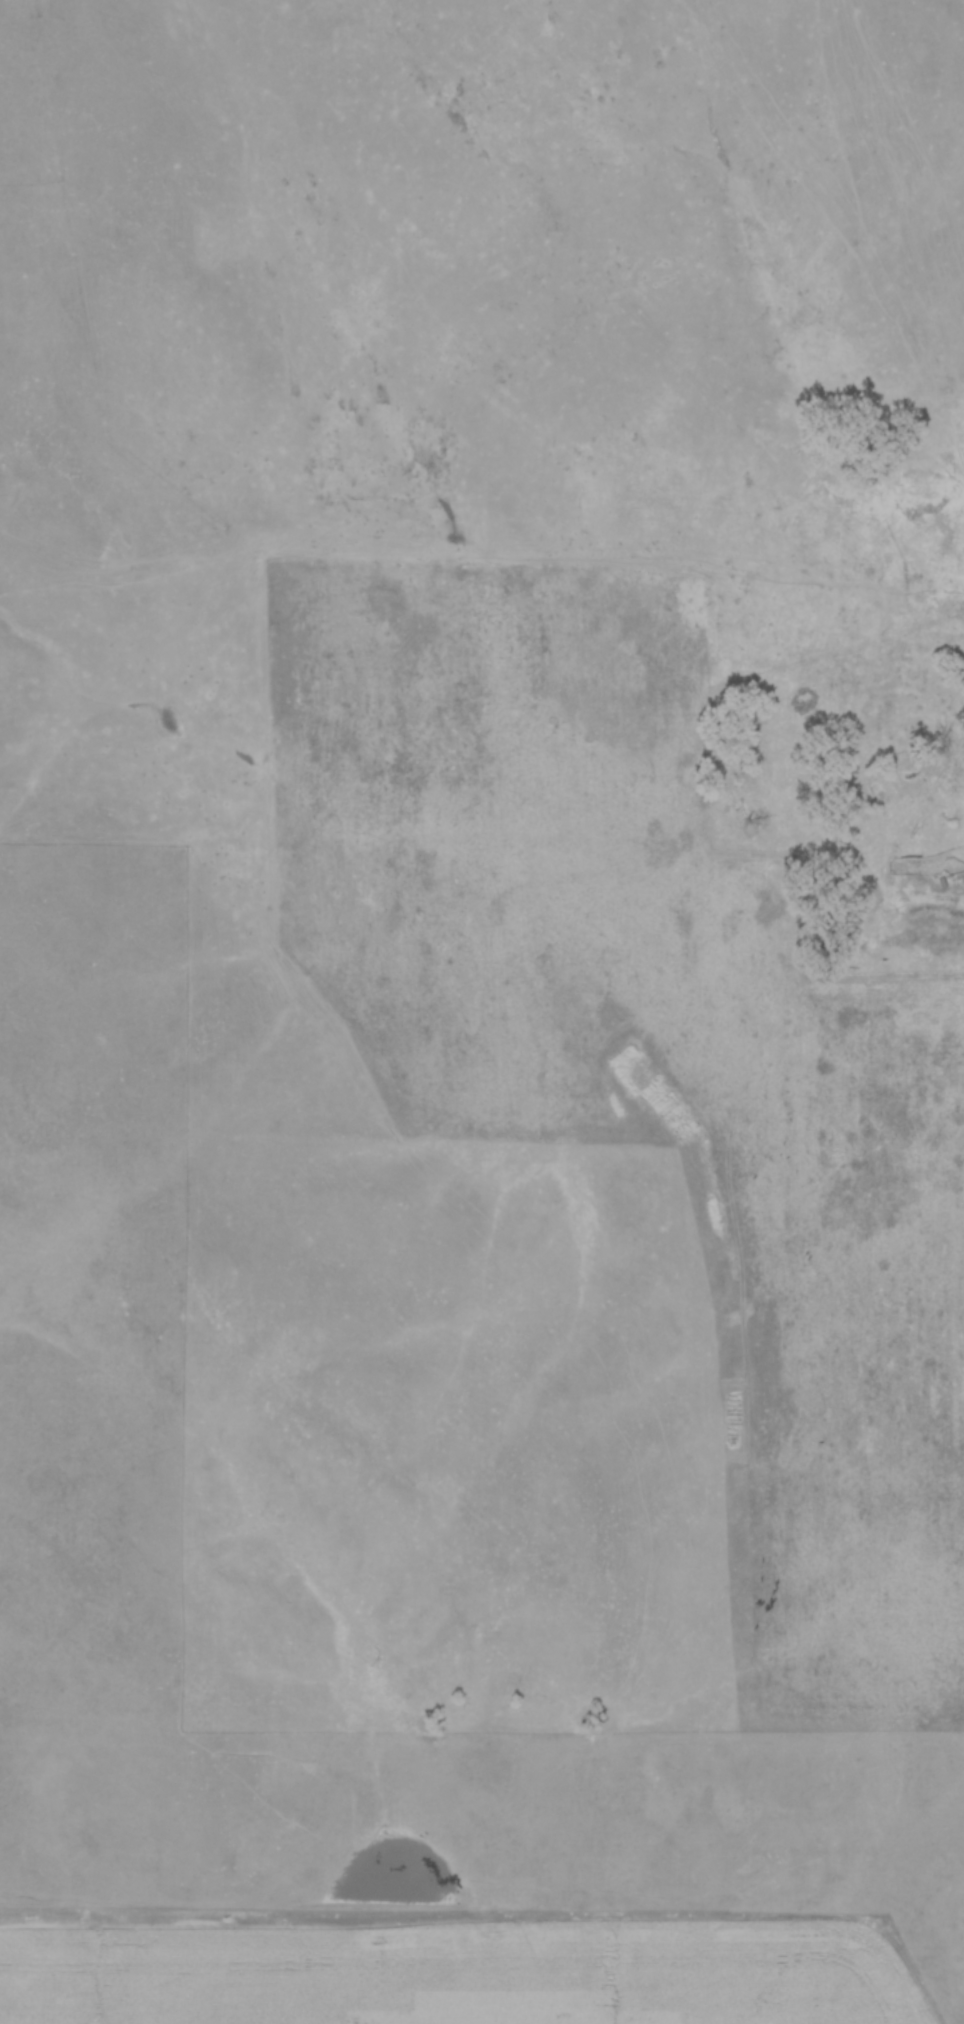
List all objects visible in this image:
road: (914, 897)

